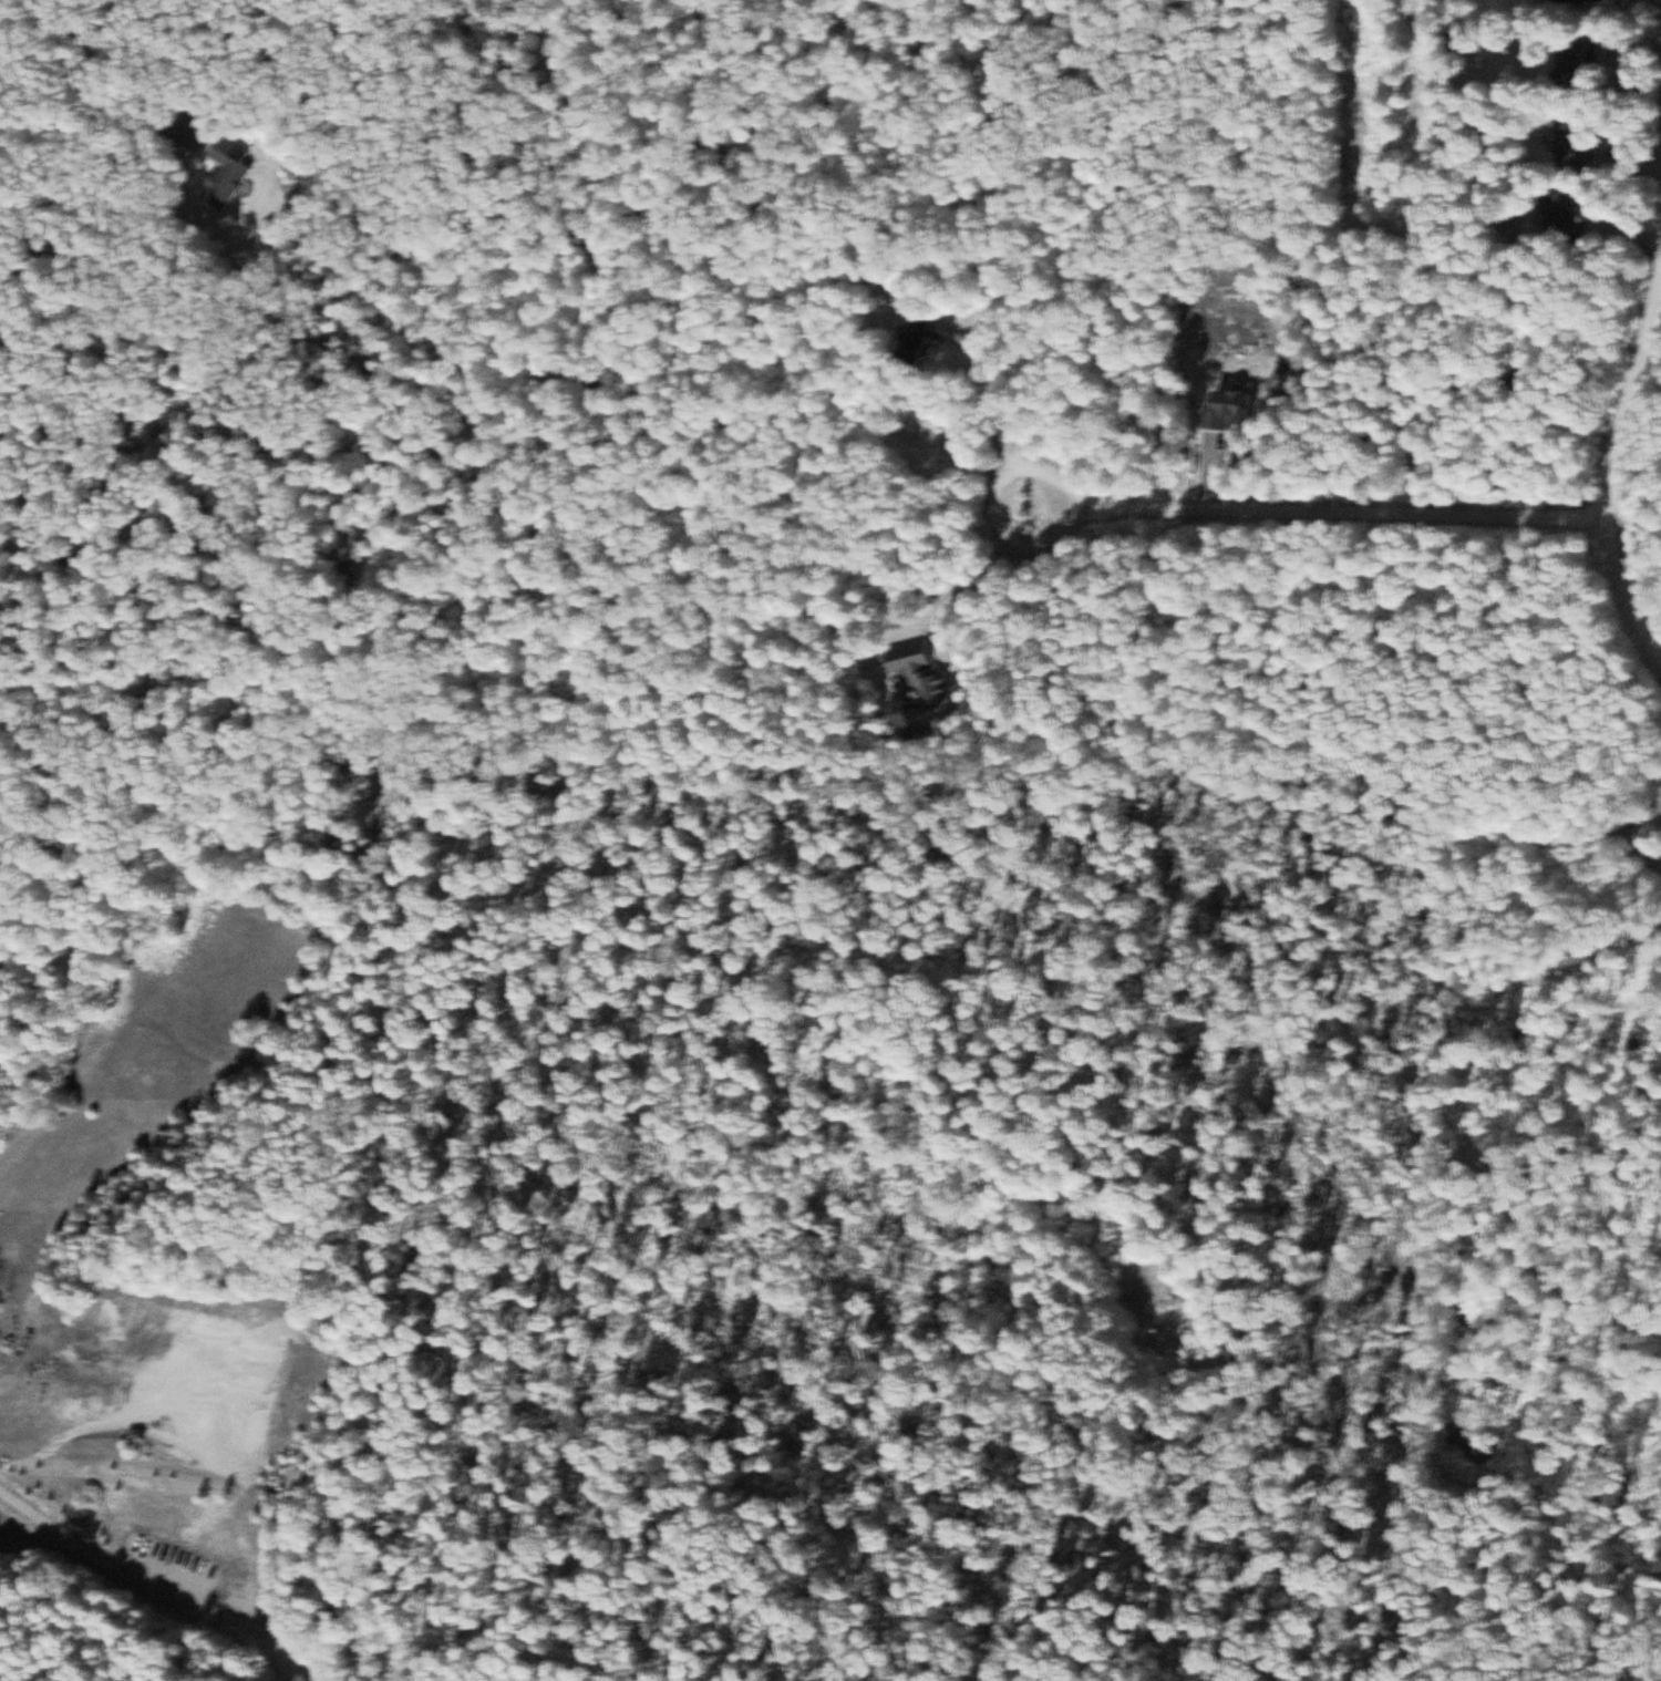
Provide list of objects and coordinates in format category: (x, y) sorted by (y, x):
building: (1580, 0)
building: (1578, 61)
building: (1577, 144)
building: (230, 173)
building: (1566, 217)
road: (399, 227)
building: (924, 334)
building: (1232, 409)
road: (1611, 478)
road: (1319, 515)
building: (922, 679)
road: (99, 1546)
parking lot: (133, 1547)
road: (114, 1647)

